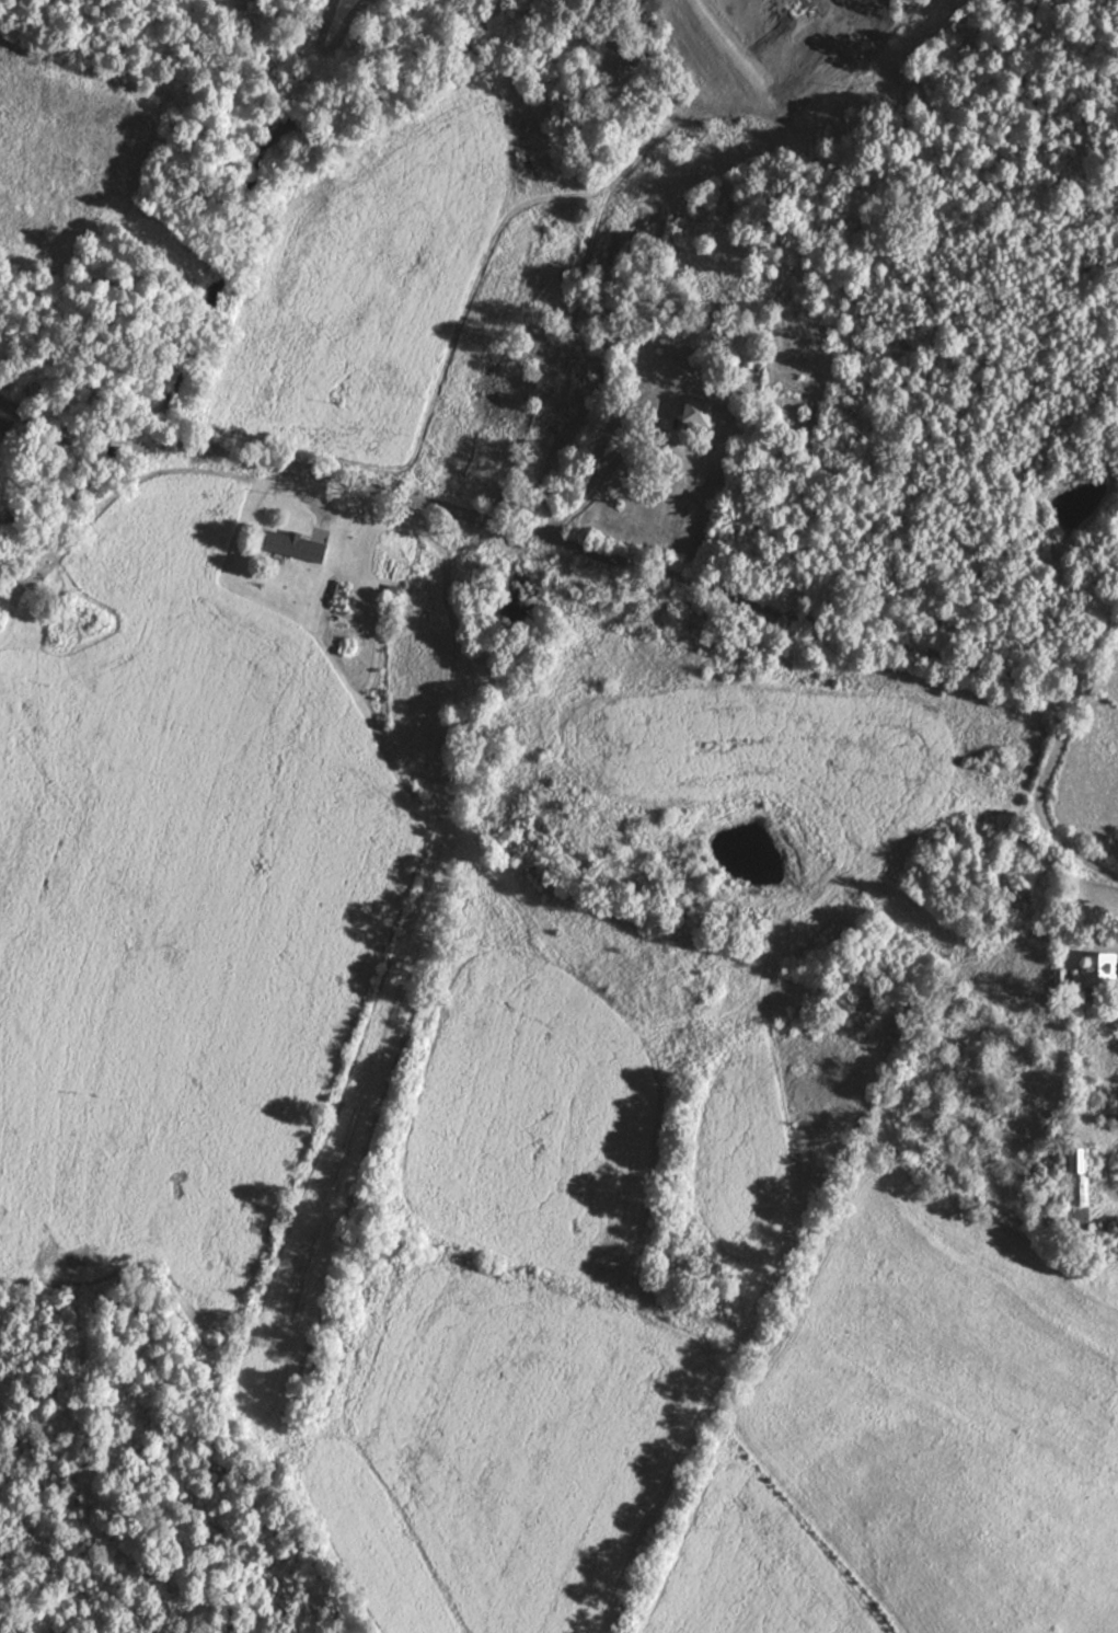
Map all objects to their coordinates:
building: (561, 380)
building: (727, 411)
building: (701, 414)
building: (296, 545)
road: (635, 577)
building: (341, 596)
building: (1098, 970)
building: (1079, 1181)

